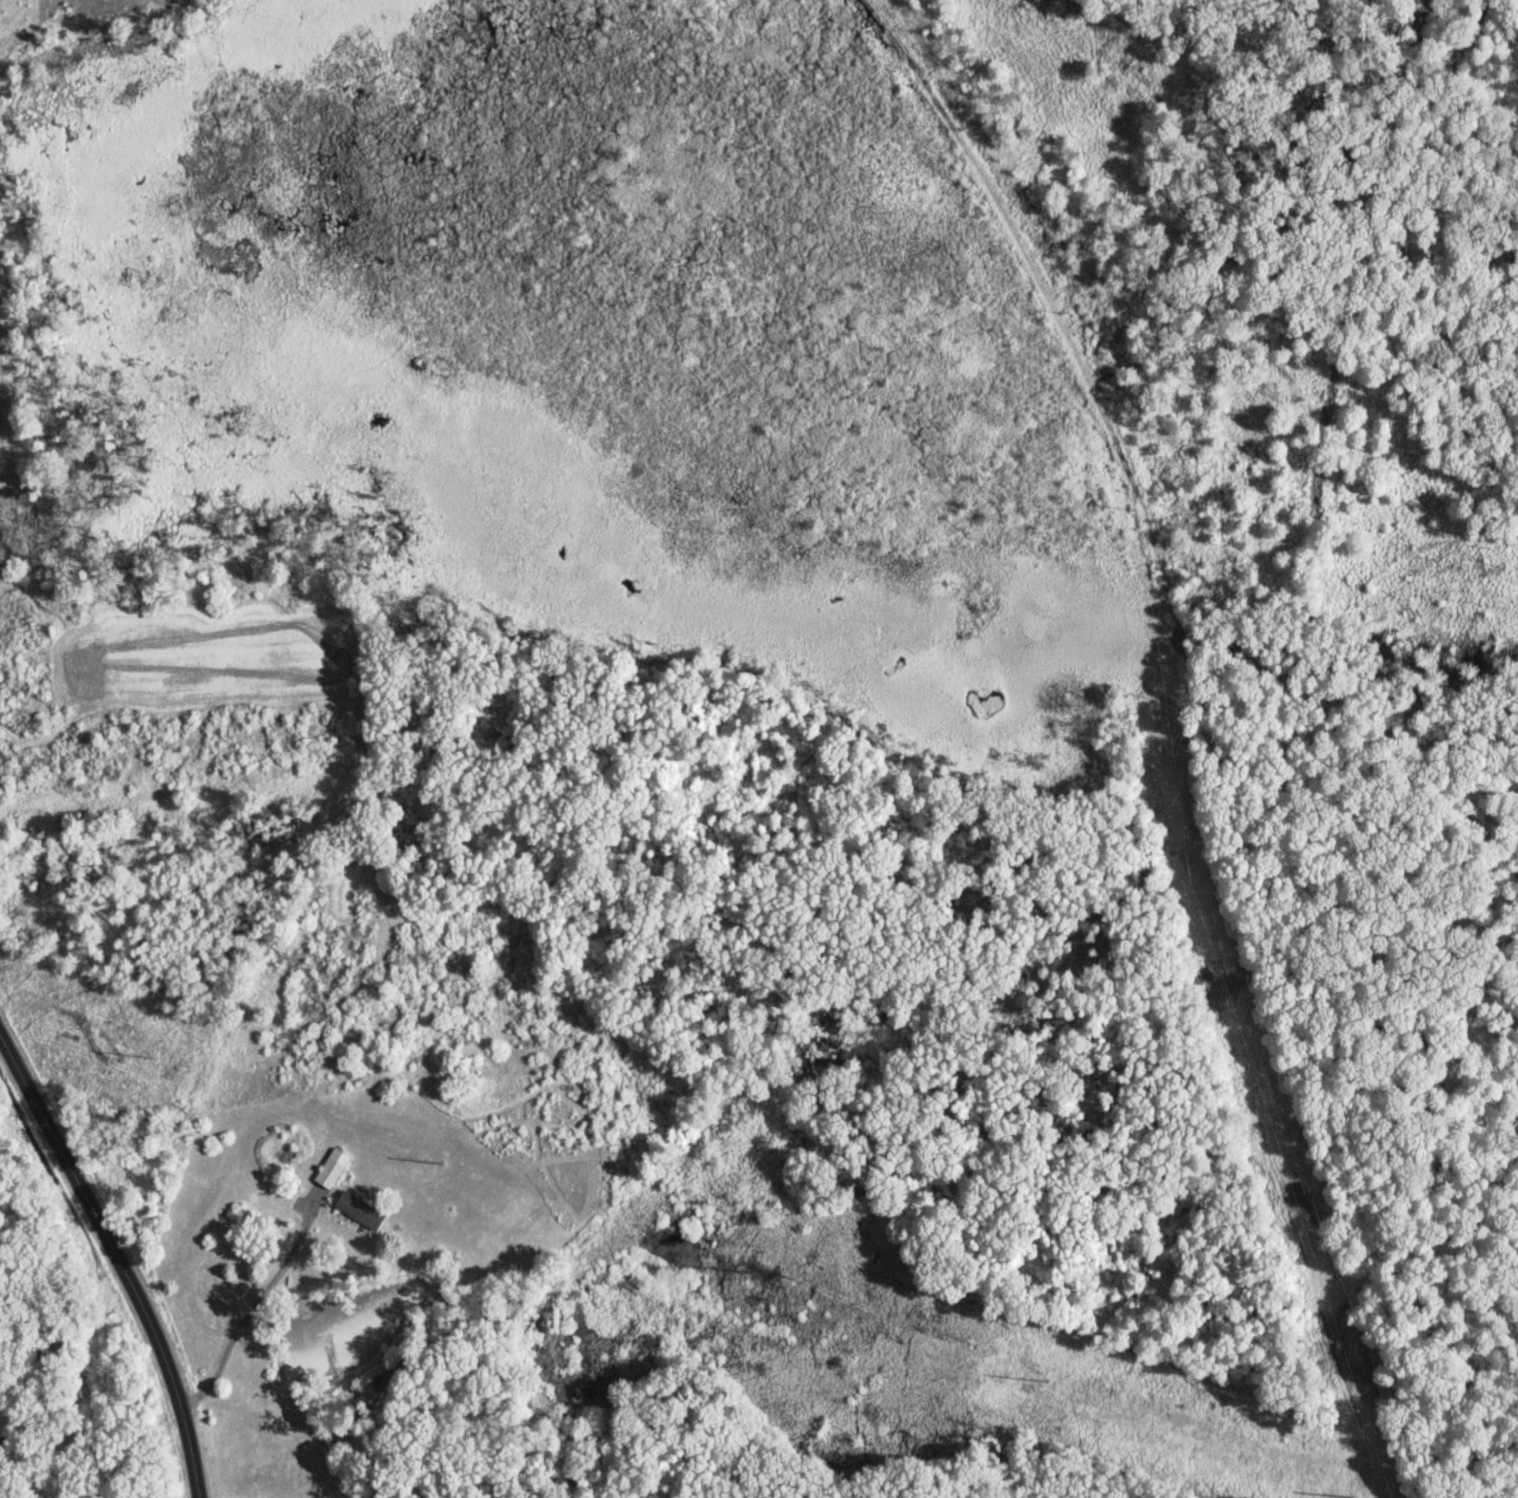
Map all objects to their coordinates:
building: (328, 1169)
building: (354, 1211)
road: (120, 1258)
road: (248, 1306)

